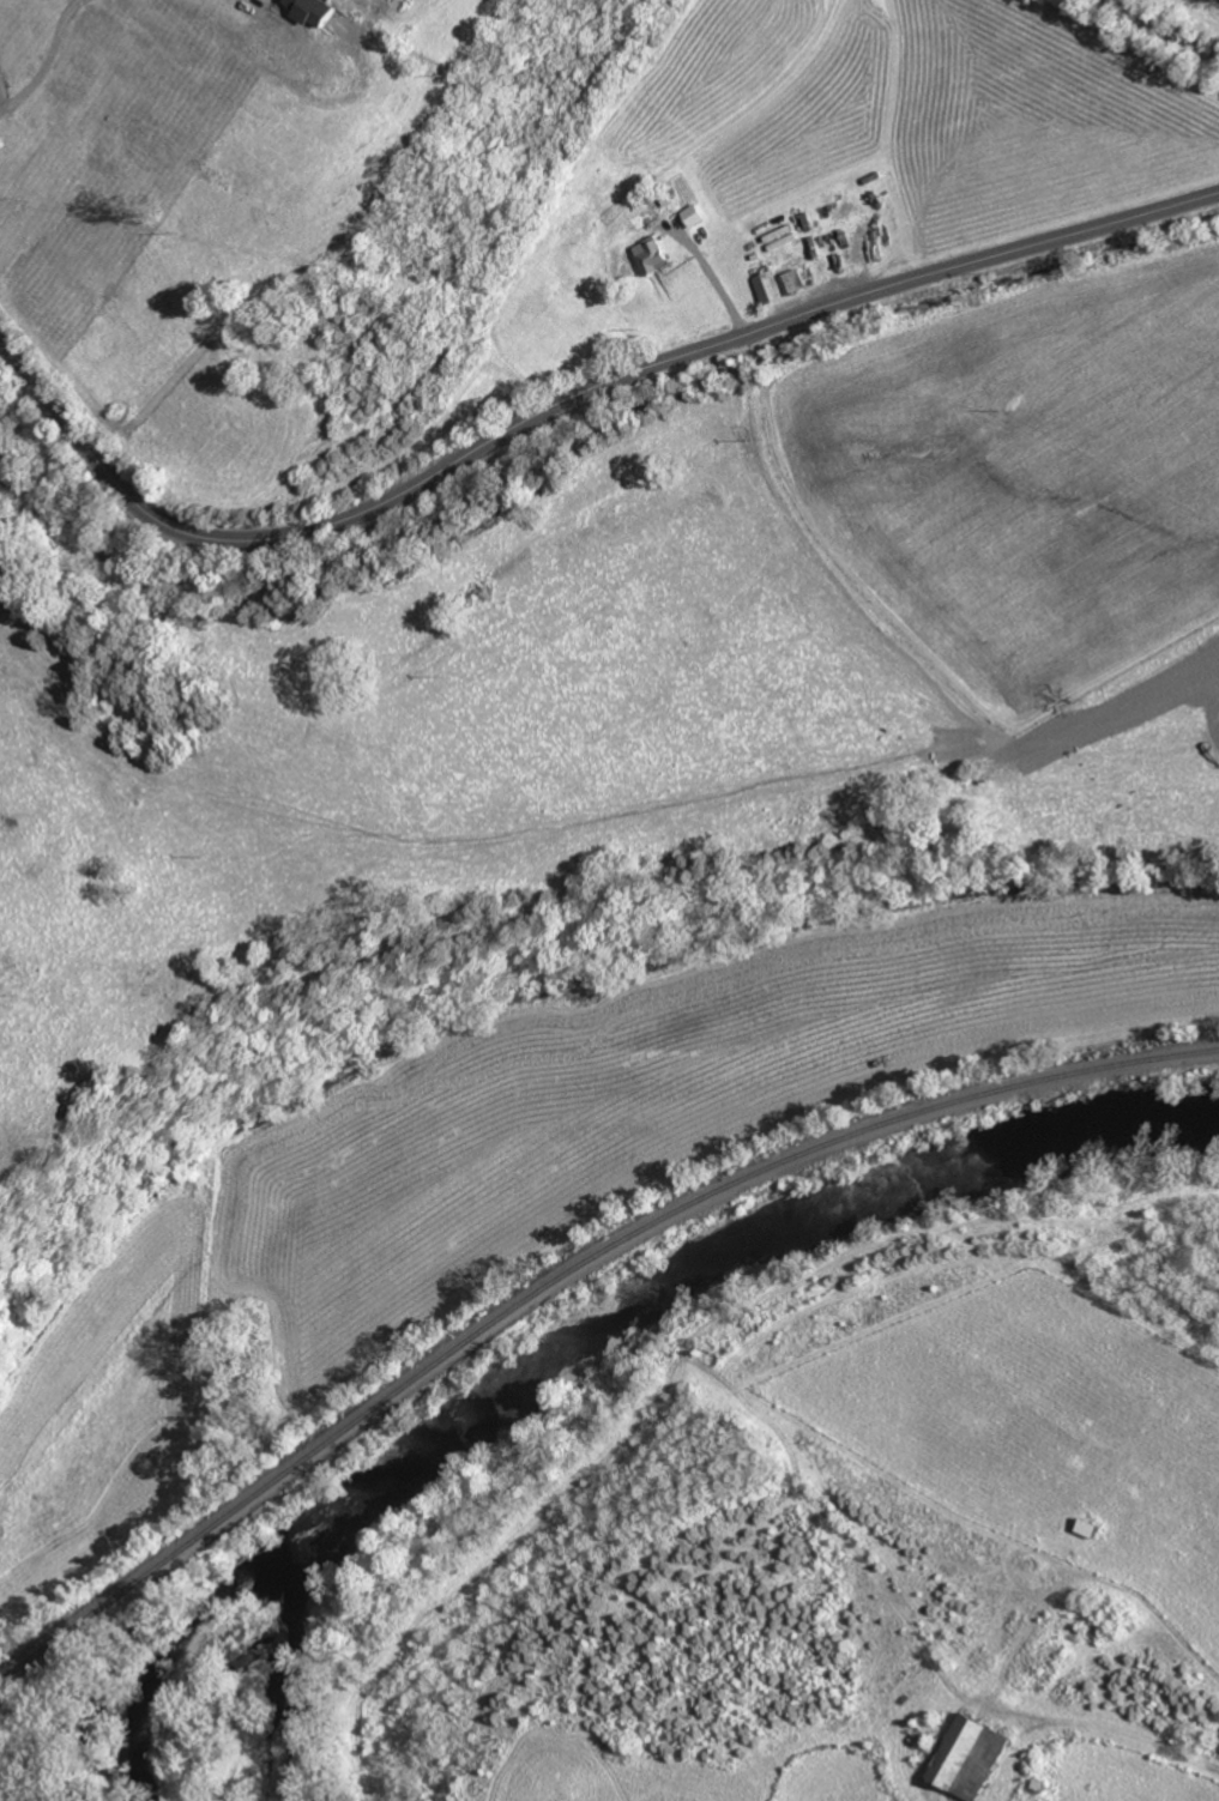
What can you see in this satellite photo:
building: (318, 11)
road: (44, 56)
road: (2, 97)
building: (654, 255)
road: (710, 280)
building: (795, 282)
road: (567, 401)
railway: (566, 1275)
building: (964, 1757)

